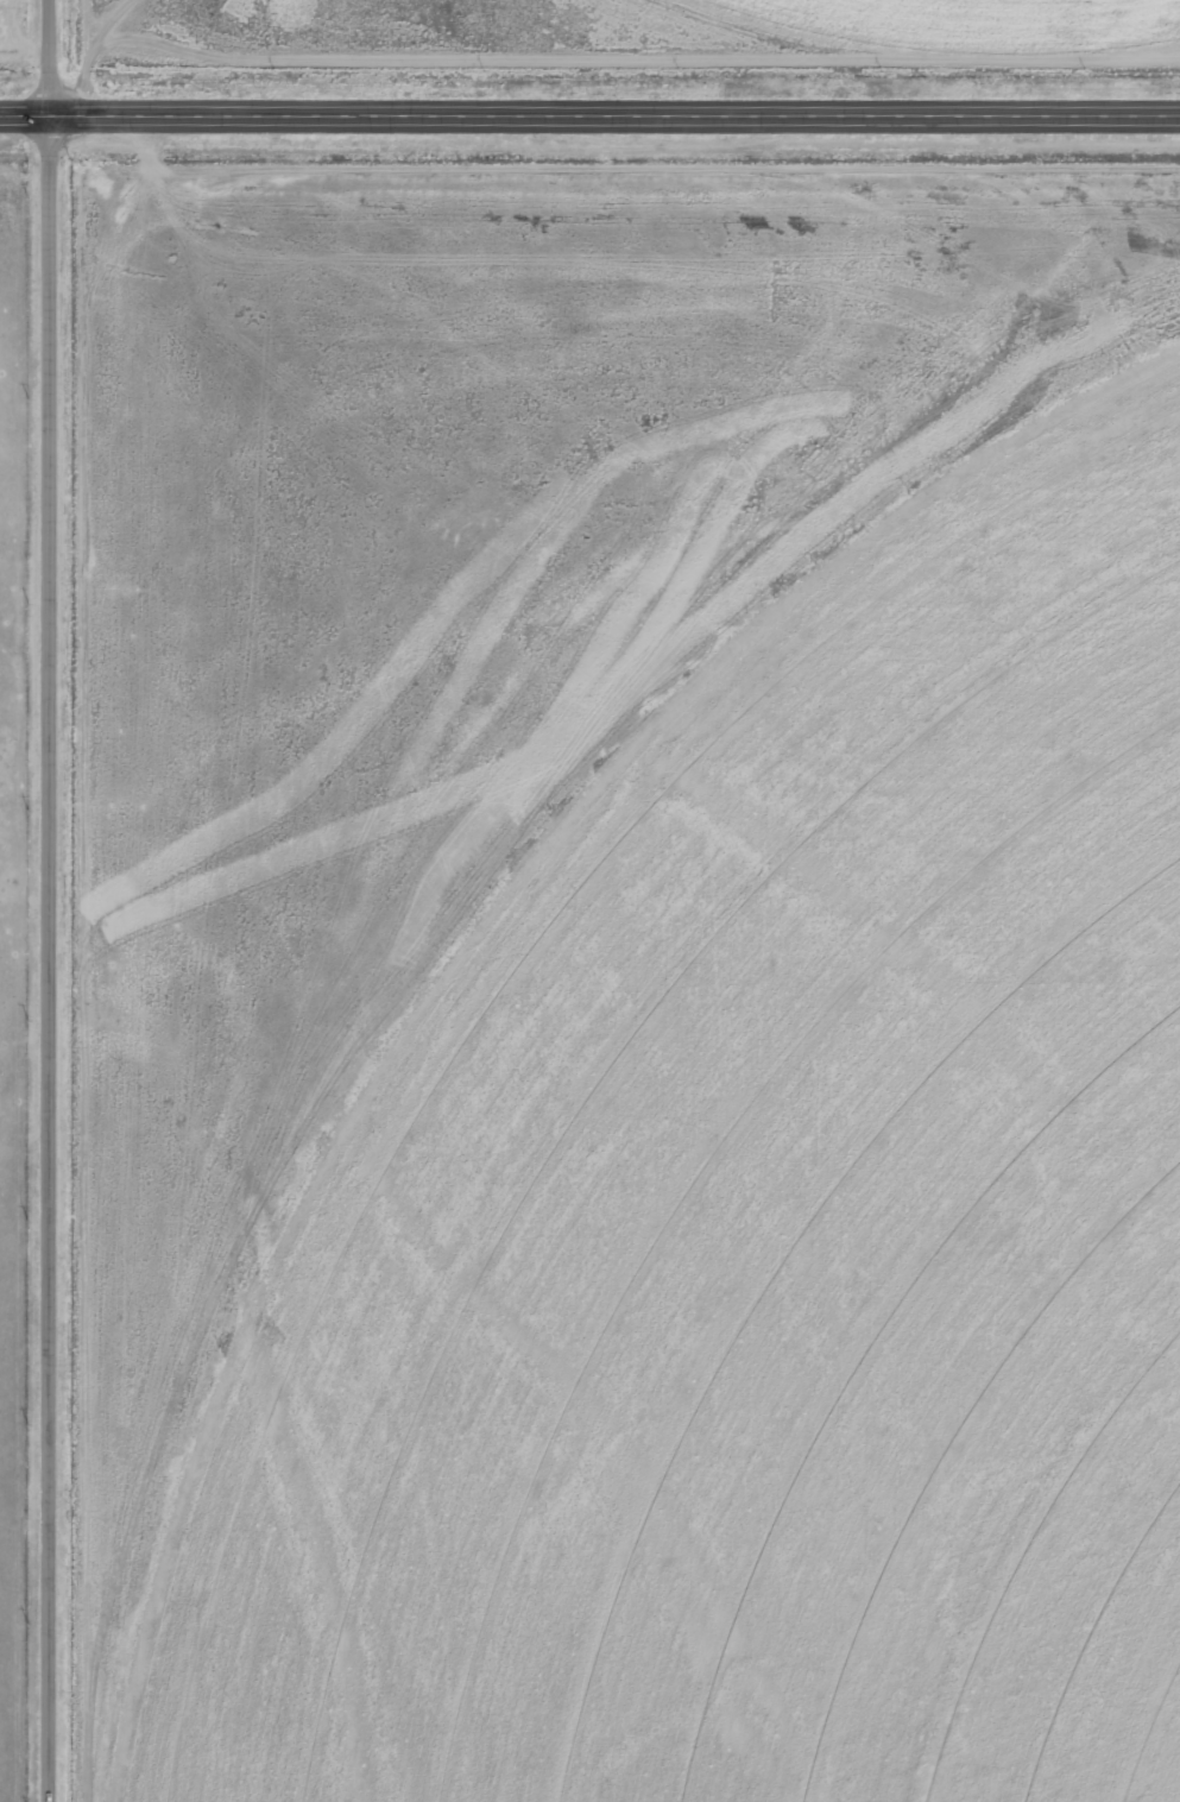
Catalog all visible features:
road: (589, 111)
road: (50, 900)

